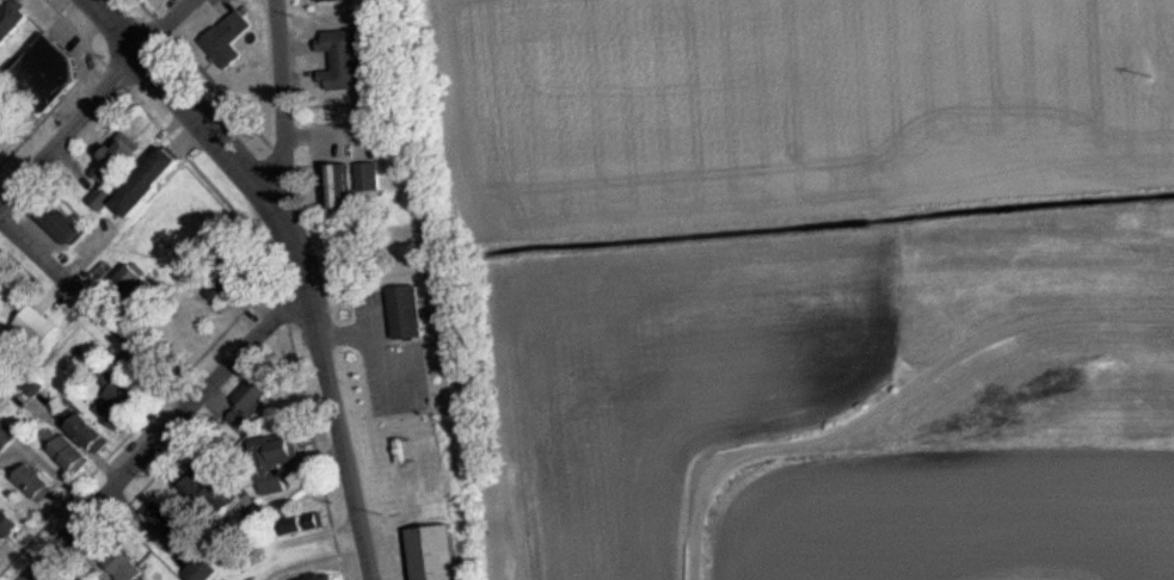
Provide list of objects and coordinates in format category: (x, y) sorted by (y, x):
building: (331, 1)
building: (13, 19)
road: (168, 25)
building: (229, 41)
building: (344, 61)
road: (282, 104)
road: (189, 105)
road: (70, 128)
building: (4, 137)
building: (116, 173)
building: (370, 179)
building: (155, 184)
building: (349, 189)
building: (59, 220)
building: (136, 284)
building: (223, 289)
building: (2, 297)
road: (98, 310)
building: (410, 314)
building: (2, 325)
road: (332, 394)
building: (121, 403)
building: (250, 405)
road: (896, 405)
road: (167, 431)
building: (8, 436)
building: (93, 436)
building: (276, 451)
building: (72, 455)
building: (36, 485)
building: (210, 490)
building: (260, 519)
building: (167, 524)
building: (305, 525)
building: (7, 526)
building: (437, 554)
building: (202, 569)
building: (331, 578)

